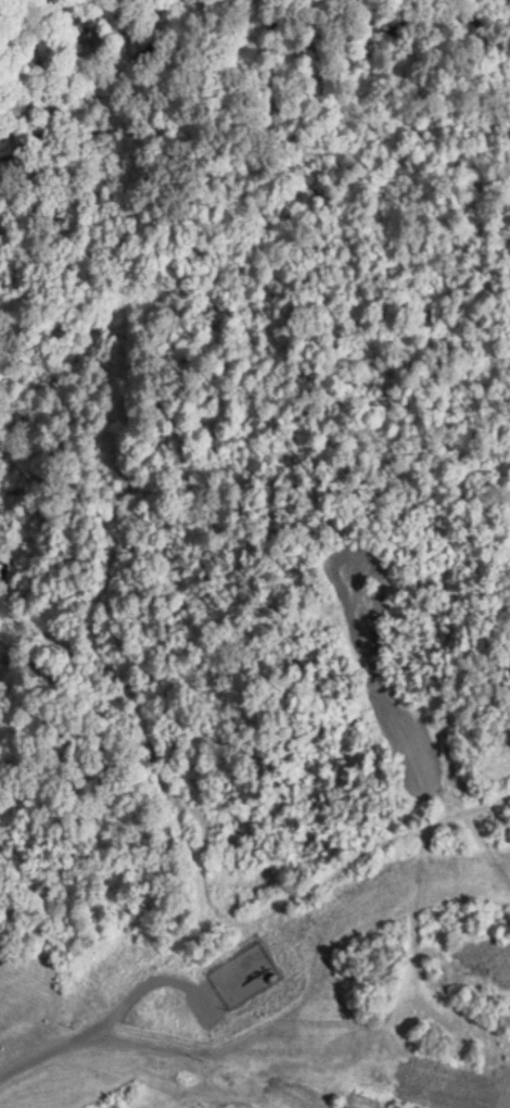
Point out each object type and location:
road: (94, 1030)
power tower: (194, 1107)

